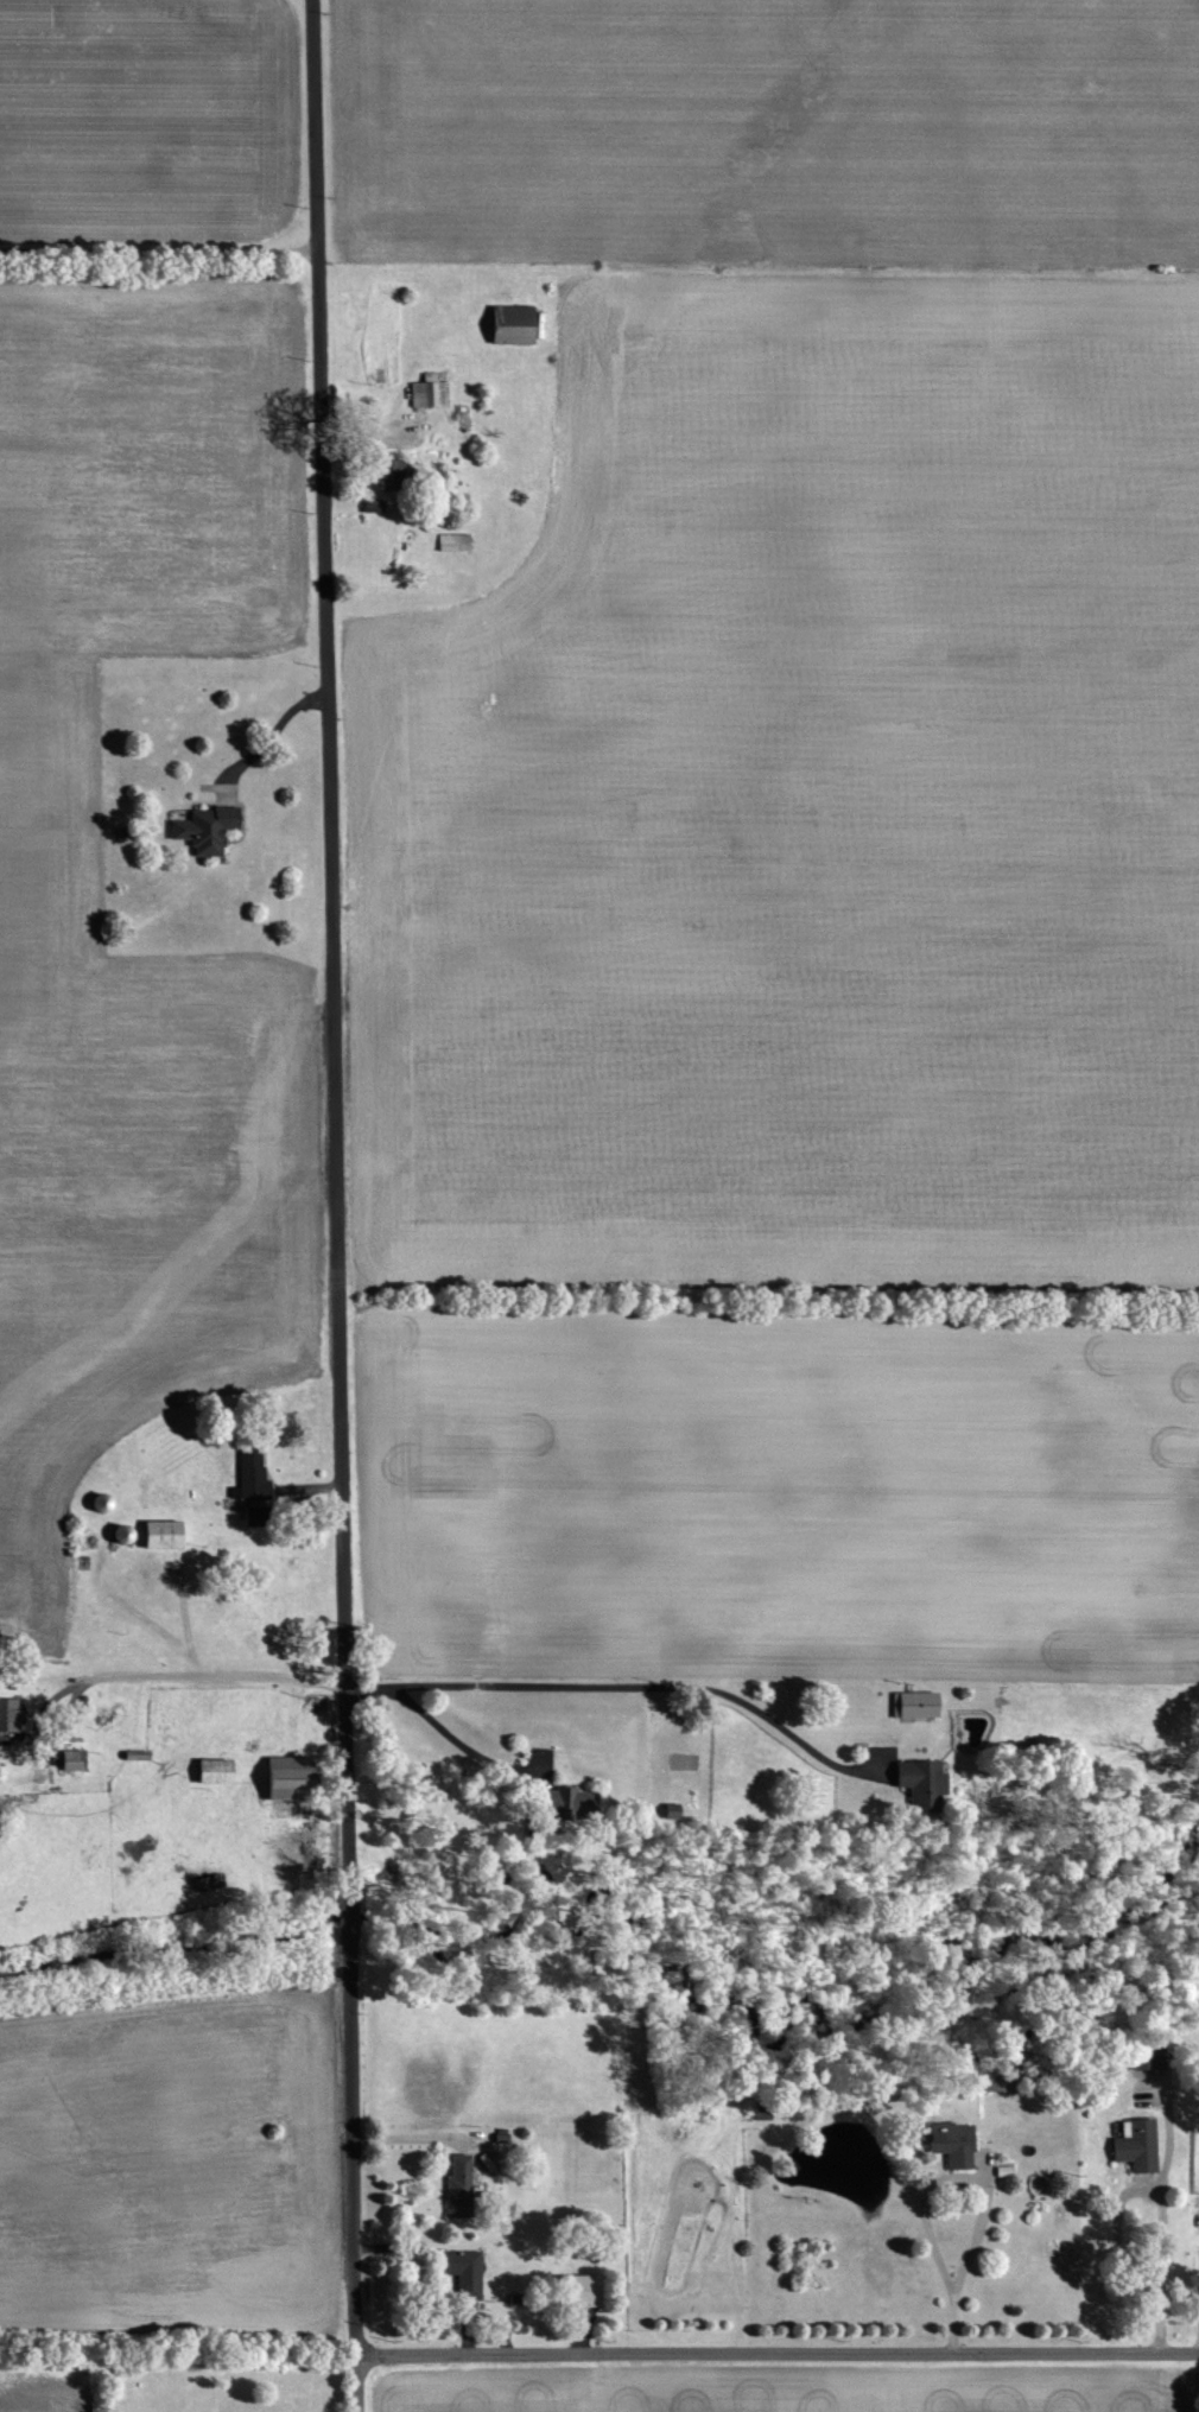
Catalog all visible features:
road: (159, 250)
building: (510, 324)
building: (429, 391)
building: (385, 474)
road: (273, 732)
building: (204, 829)
road: (329, 951)
building: (249, 1475)
building: (160, 1532)
road: (180, 1672)
road: (617, 1684)
building: (914, 1703)
building: (8, 1713)
road: (453, 1739)
building: (70, 1759)
building: (212, 1770)
building: (286, 1777)
building: (915, 1783)
building: (558, 1803)
building: (668, 1809)
building: (208, 1881)
road: (348, 1916)
building: (1148, 2054)
building: (997, 2075)
road: (350, 2141)
building: (951, 2143)
building: (1136, 2144)
road: (982, 2182)
building: (457, 2185)
road: (1129, 2232)
building: (463, 2273)
building: (581, 2290)
road: (1198, 2336)
road: (776, 2351)
road: (355, 2382)

